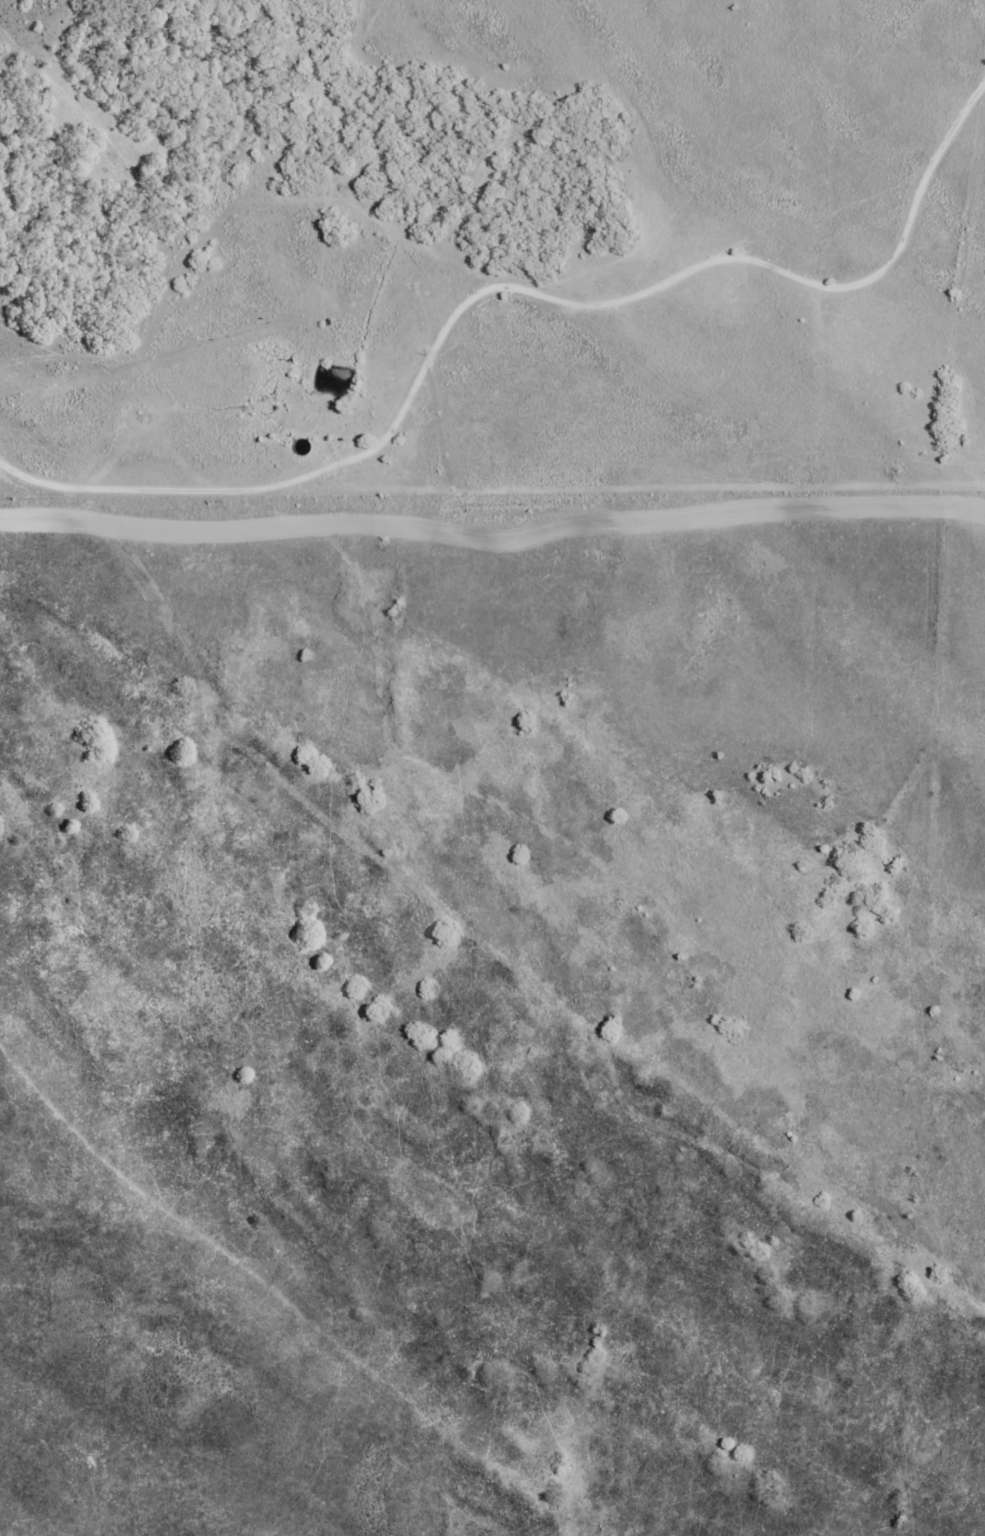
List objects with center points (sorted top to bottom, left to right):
road: (802, 1007)

